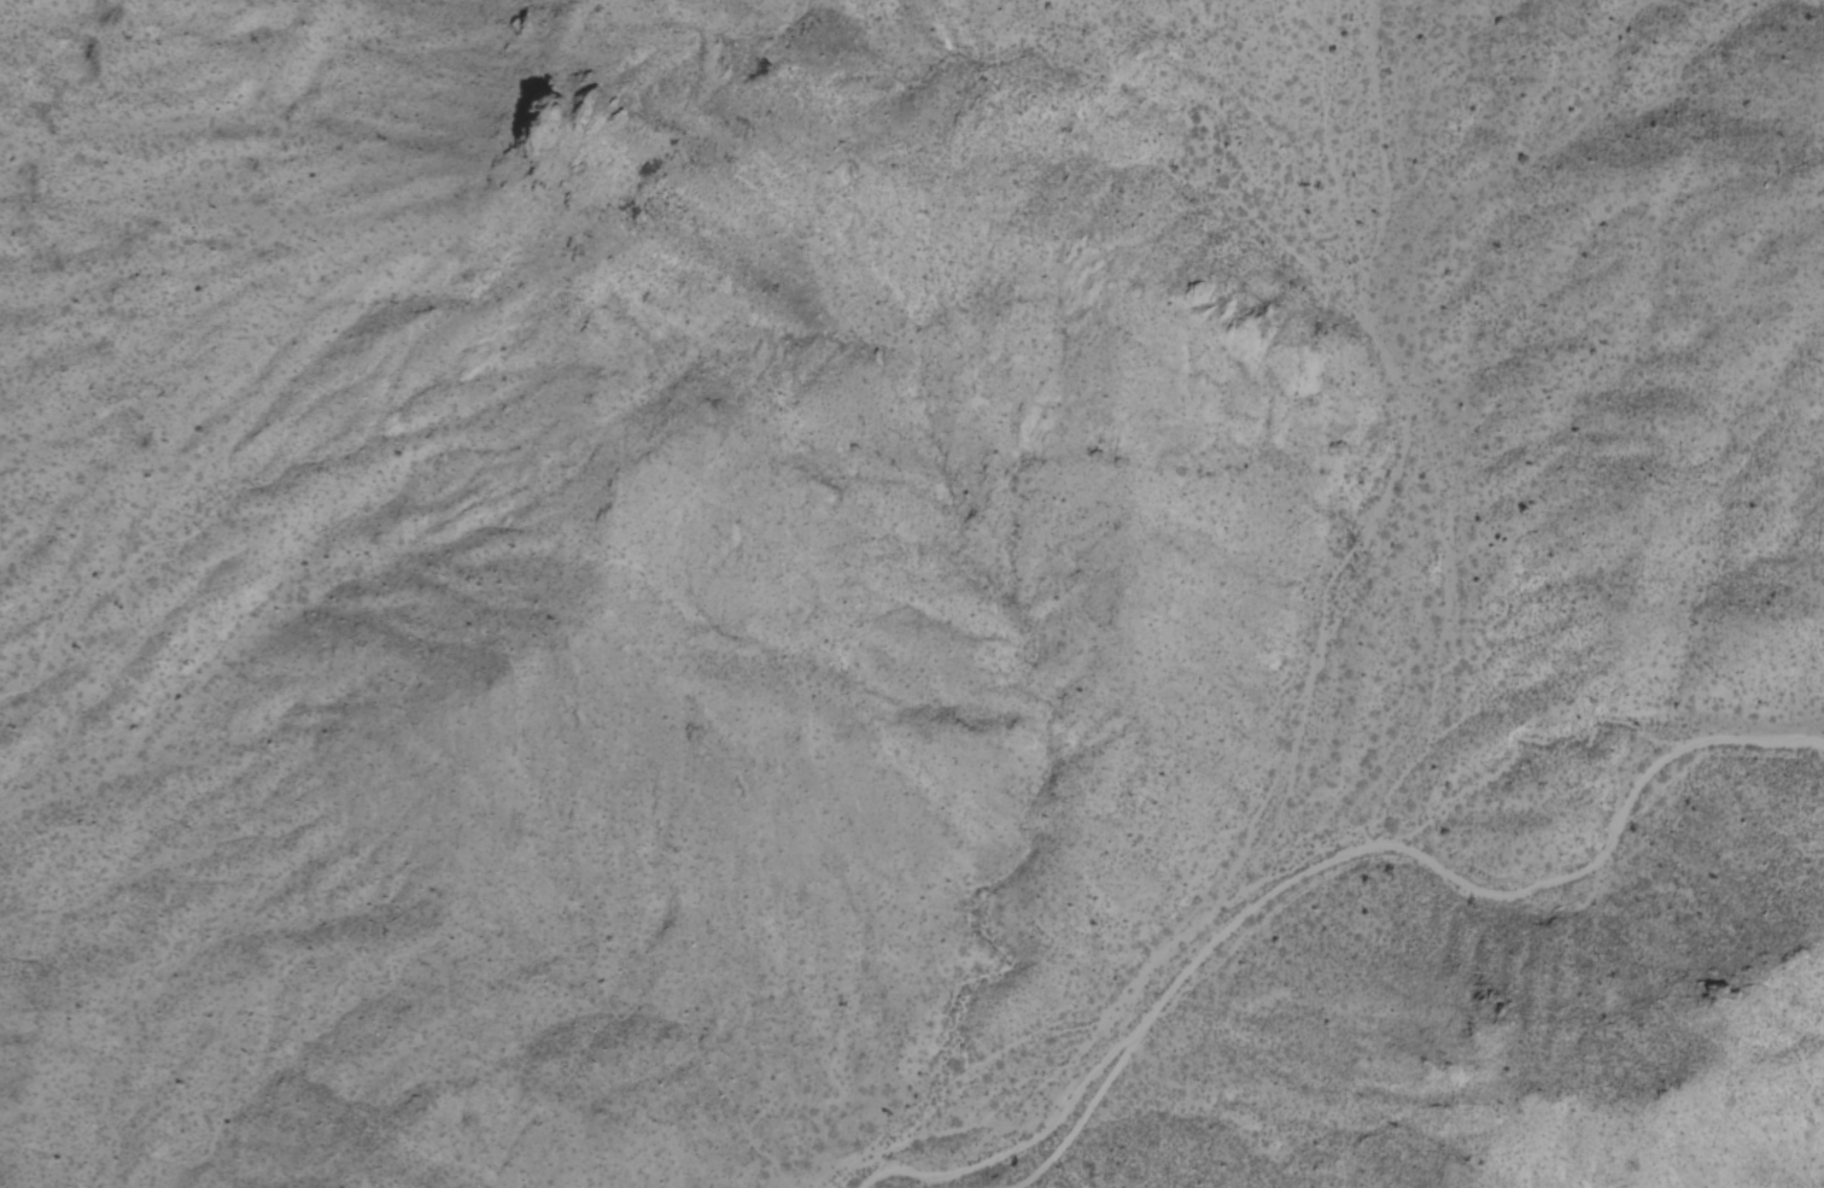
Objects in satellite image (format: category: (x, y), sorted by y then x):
road: (1396, 897)

